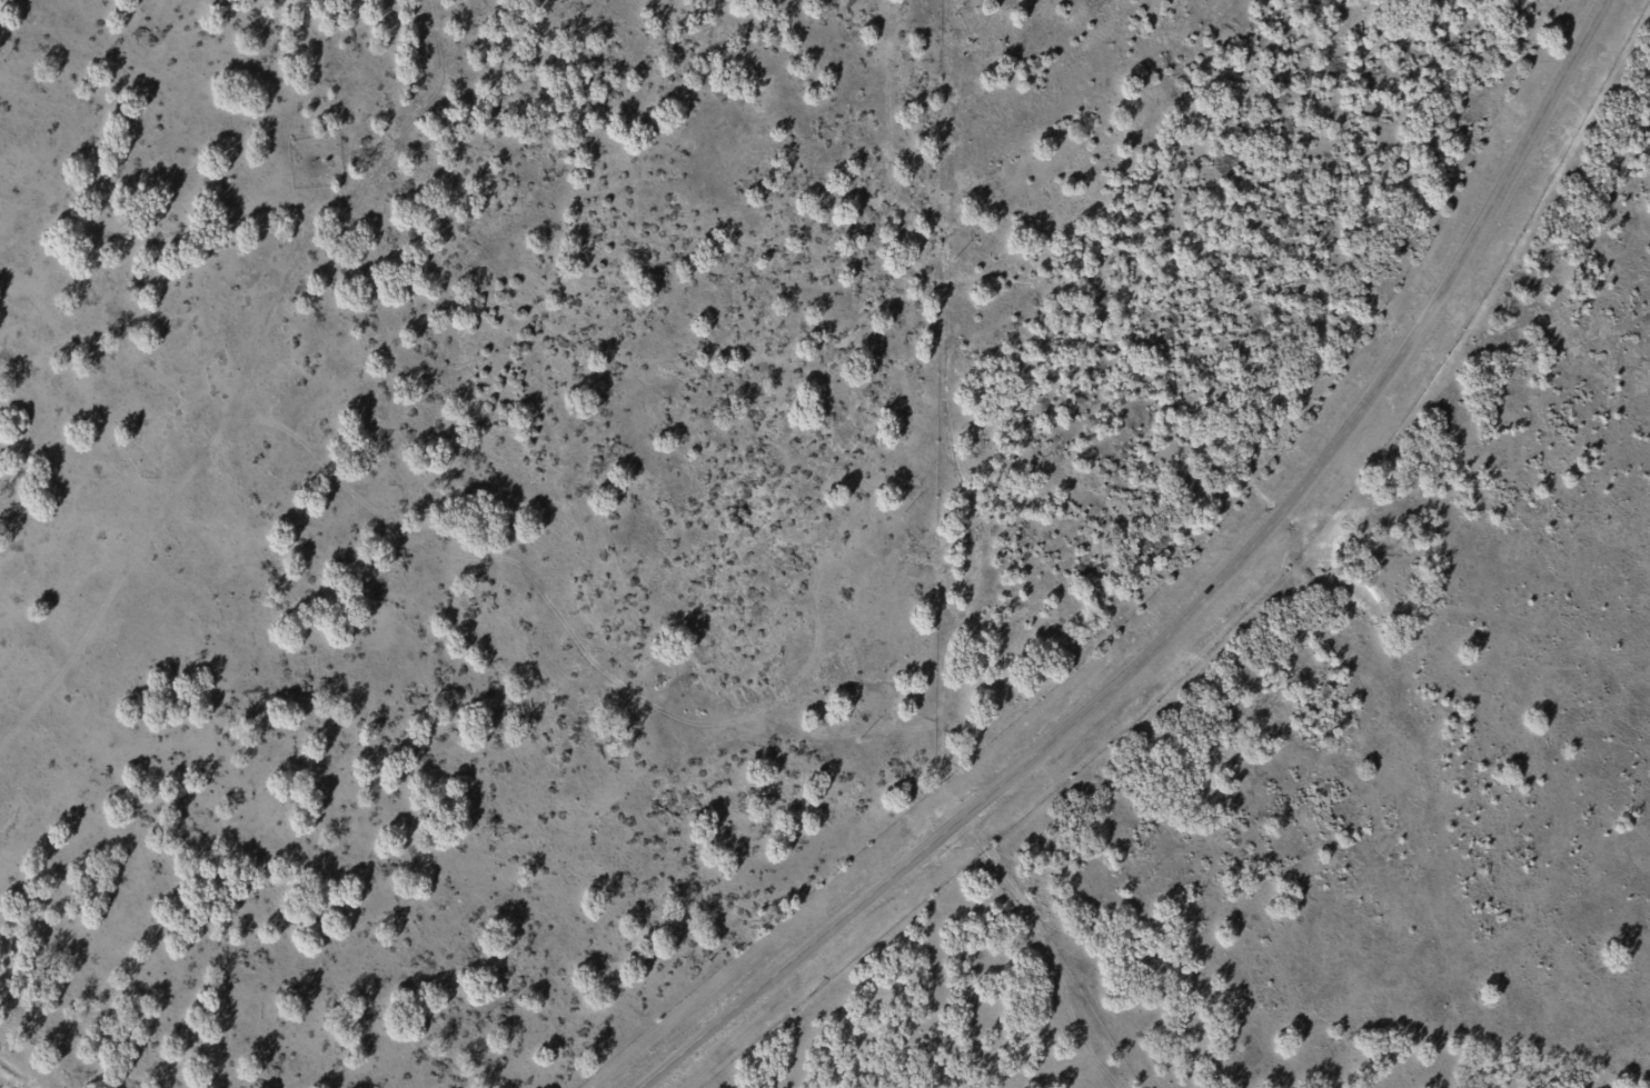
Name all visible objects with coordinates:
road: (1199, 607)
airport runway: (90, 653)

